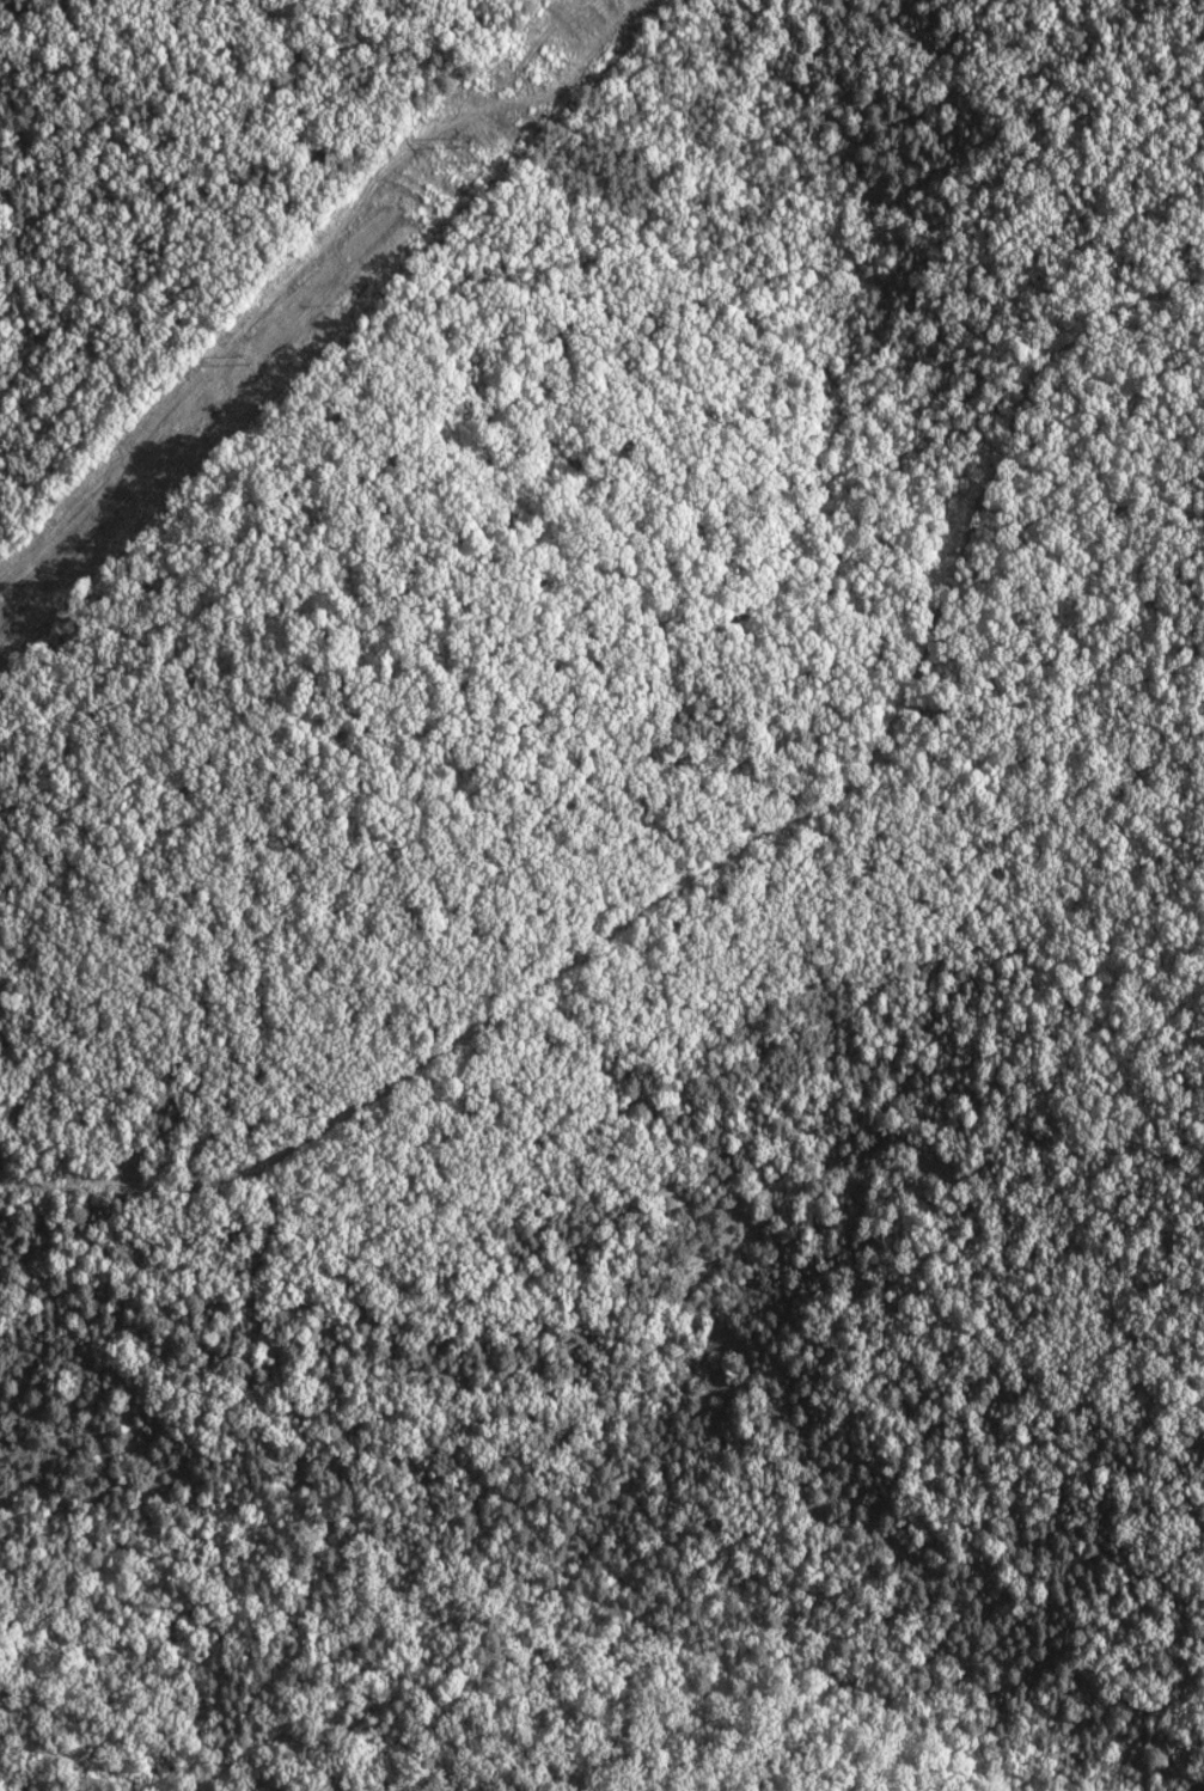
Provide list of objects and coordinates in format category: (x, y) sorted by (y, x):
power tower: (458, 137)
power tower: (244, 357)

